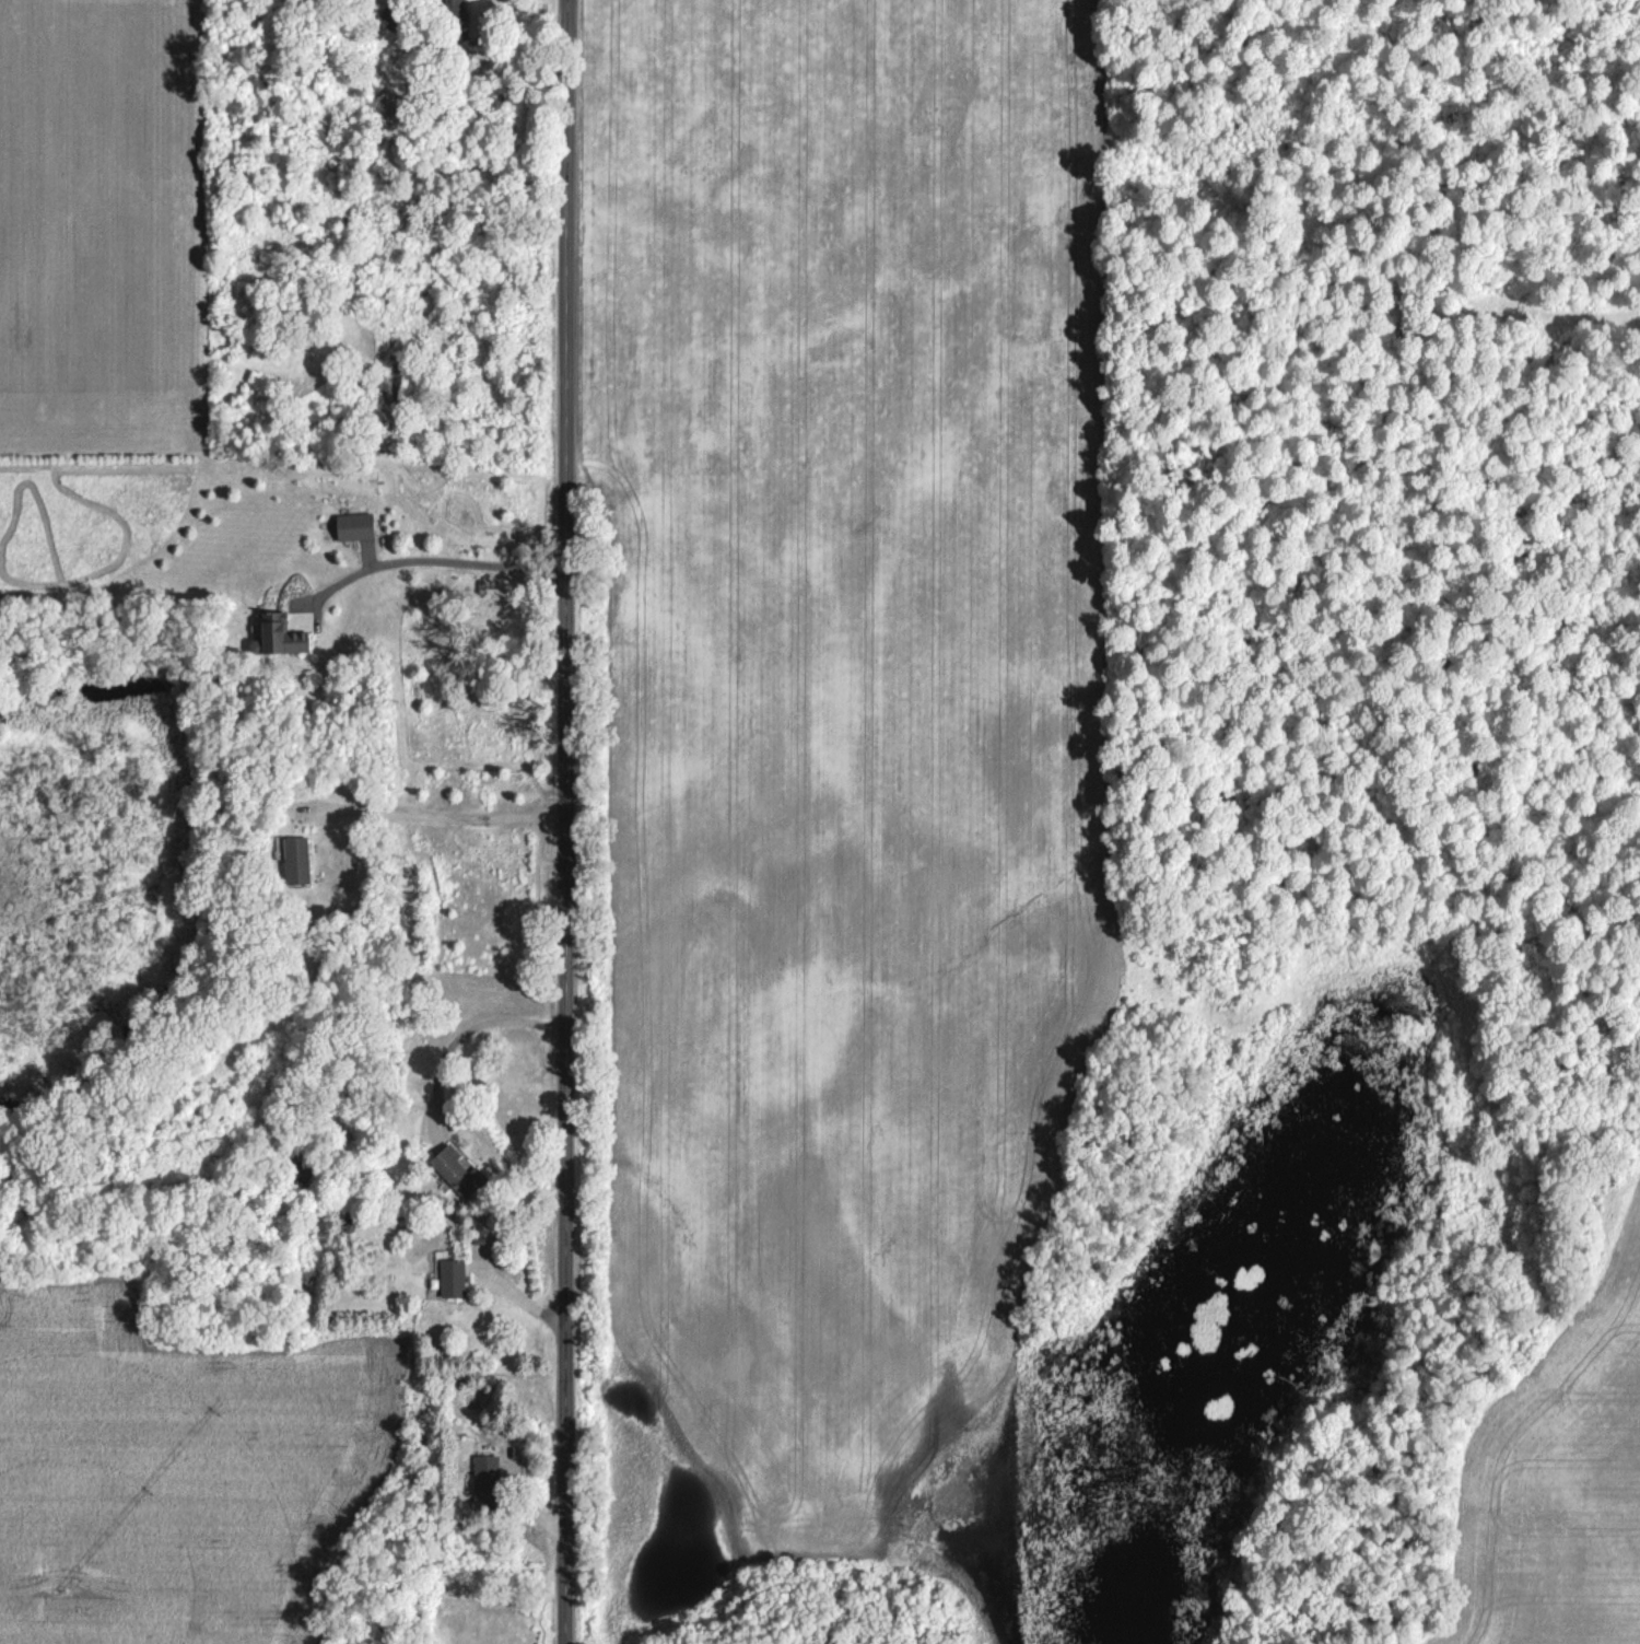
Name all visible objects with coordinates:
building: (453, 7)
building: (352, 525)
road: (433, 560)
building: (279, 633)
road: (437, 821)
road: (566, 821)
building: (295, 860)
road: (469, 1035)
building: (456, 1171)
building: (449, 1278)
building: (483, 1480)

